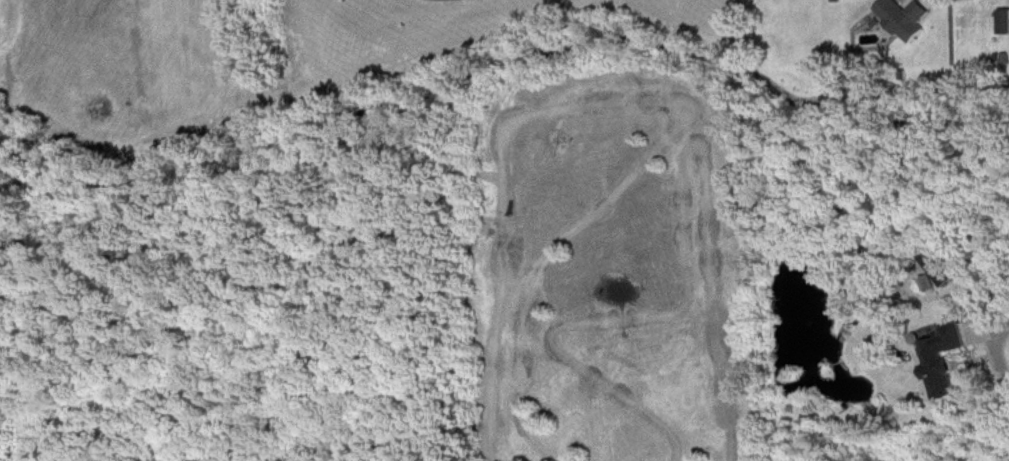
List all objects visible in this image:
building: (908, 18)
building: (1006, 21)
building: (952, 266)
road: (998, 346)
building: (951, 360)

